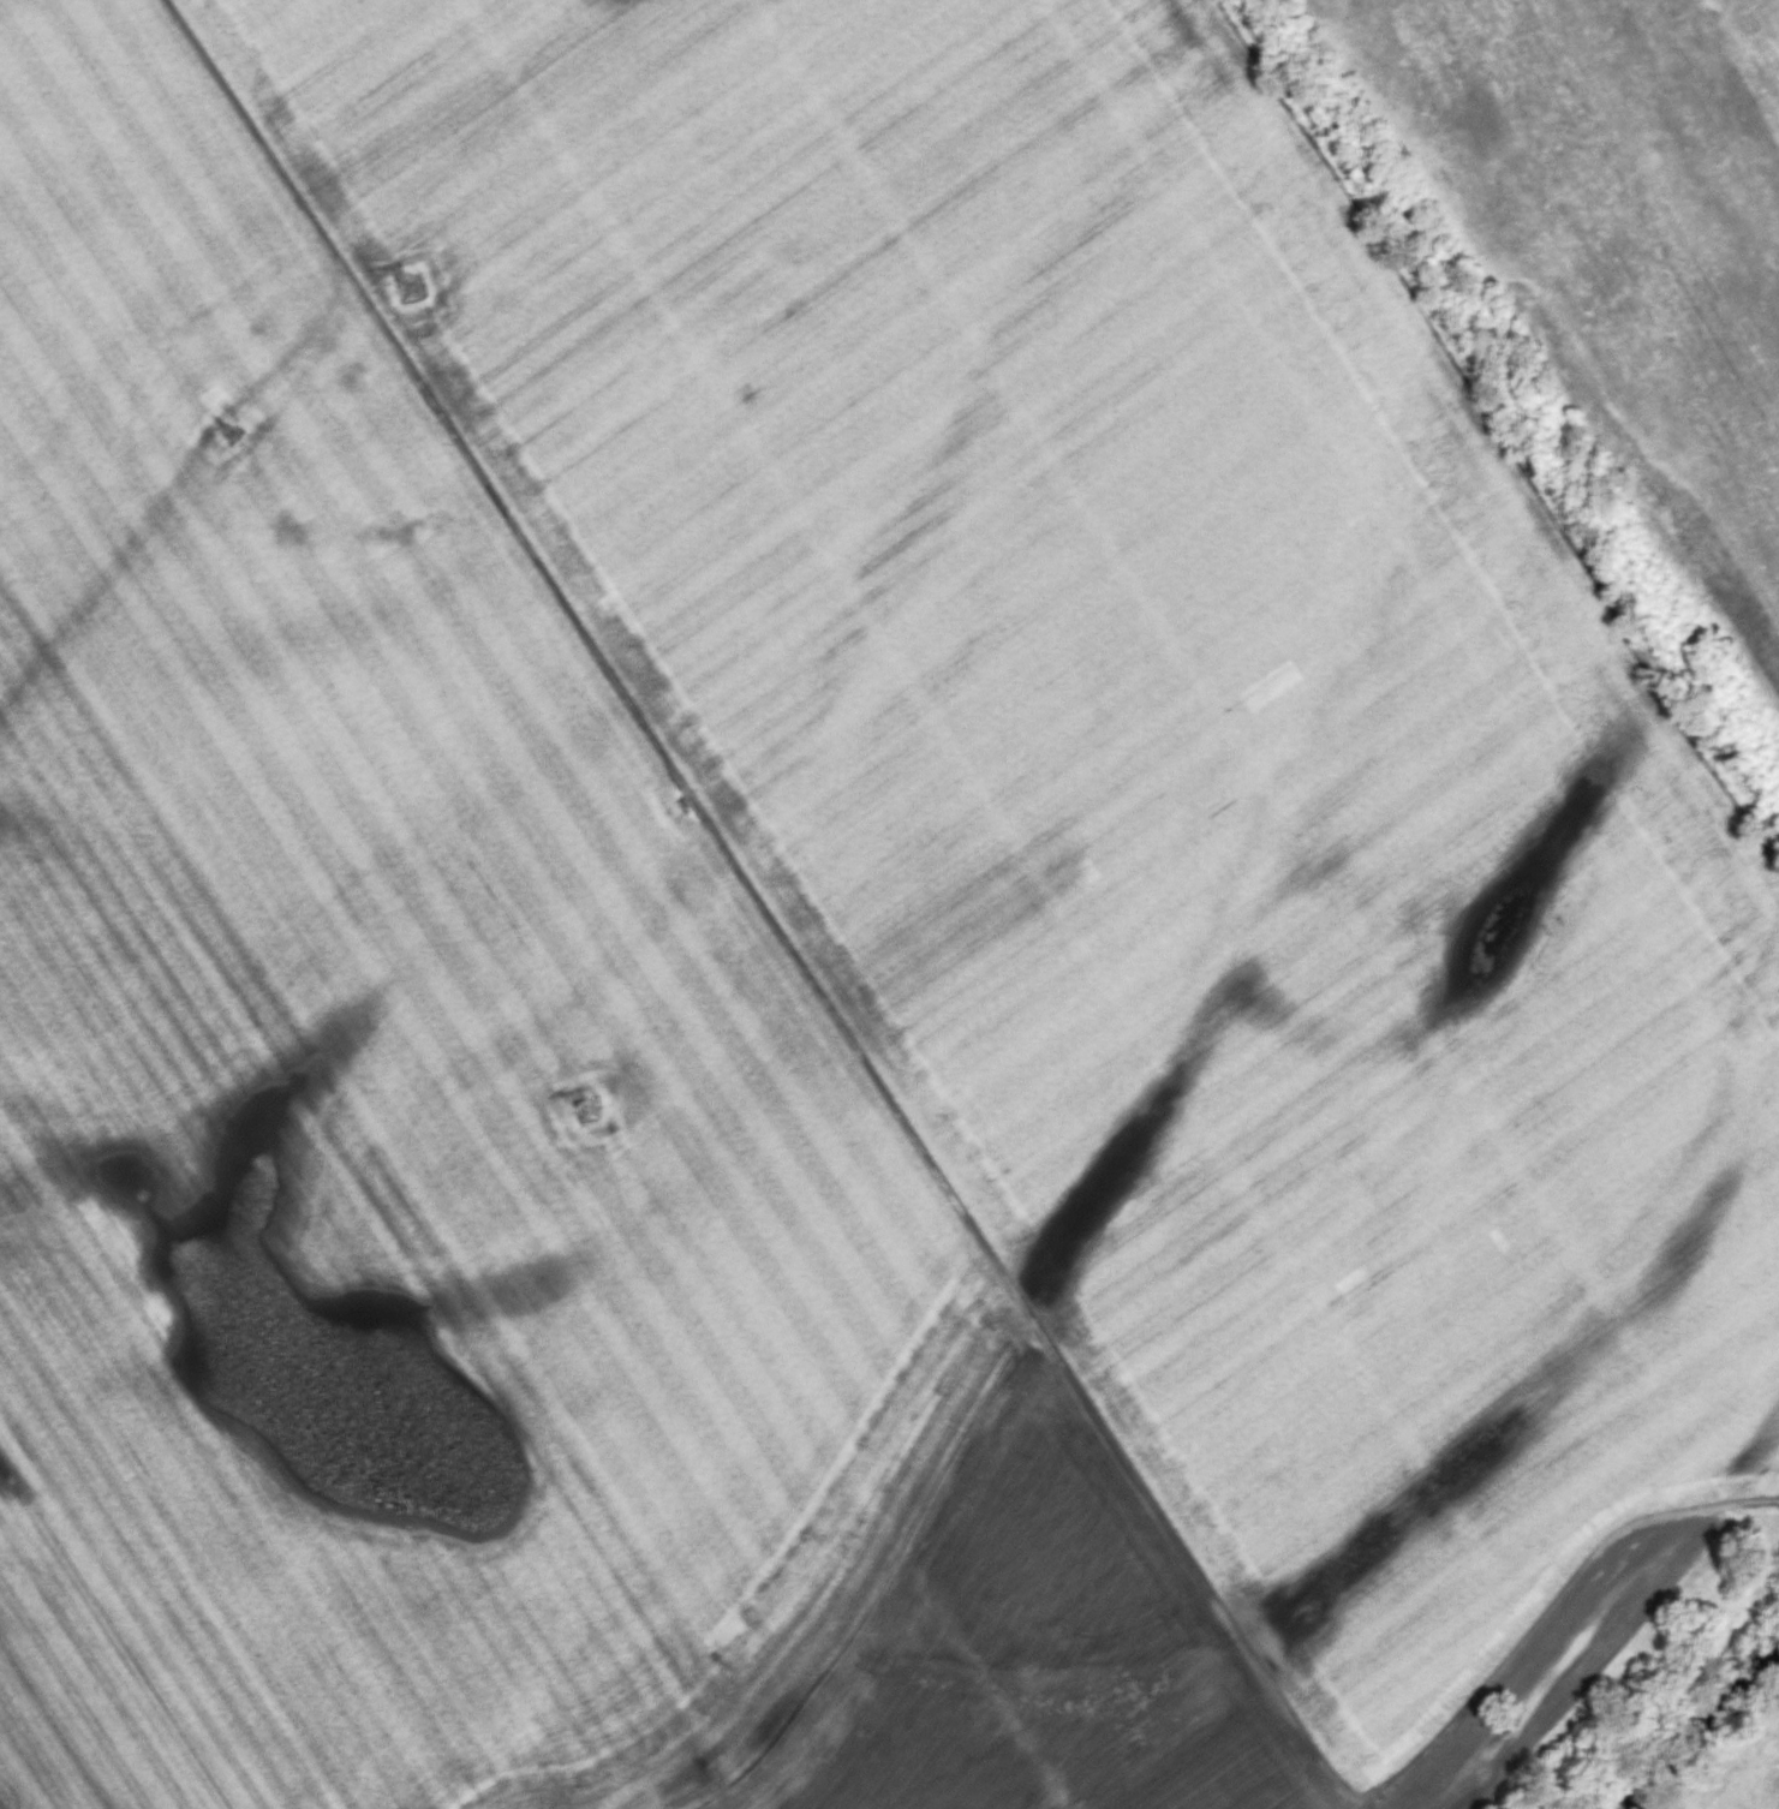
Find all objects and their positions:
crop: (1624, 231)
power tower: (405, 287)
power tower: (235, 425)
crop: (817, 944)
power tower: (580, 1109)
road: (907, 1128)
crop: (1745, 1777)

